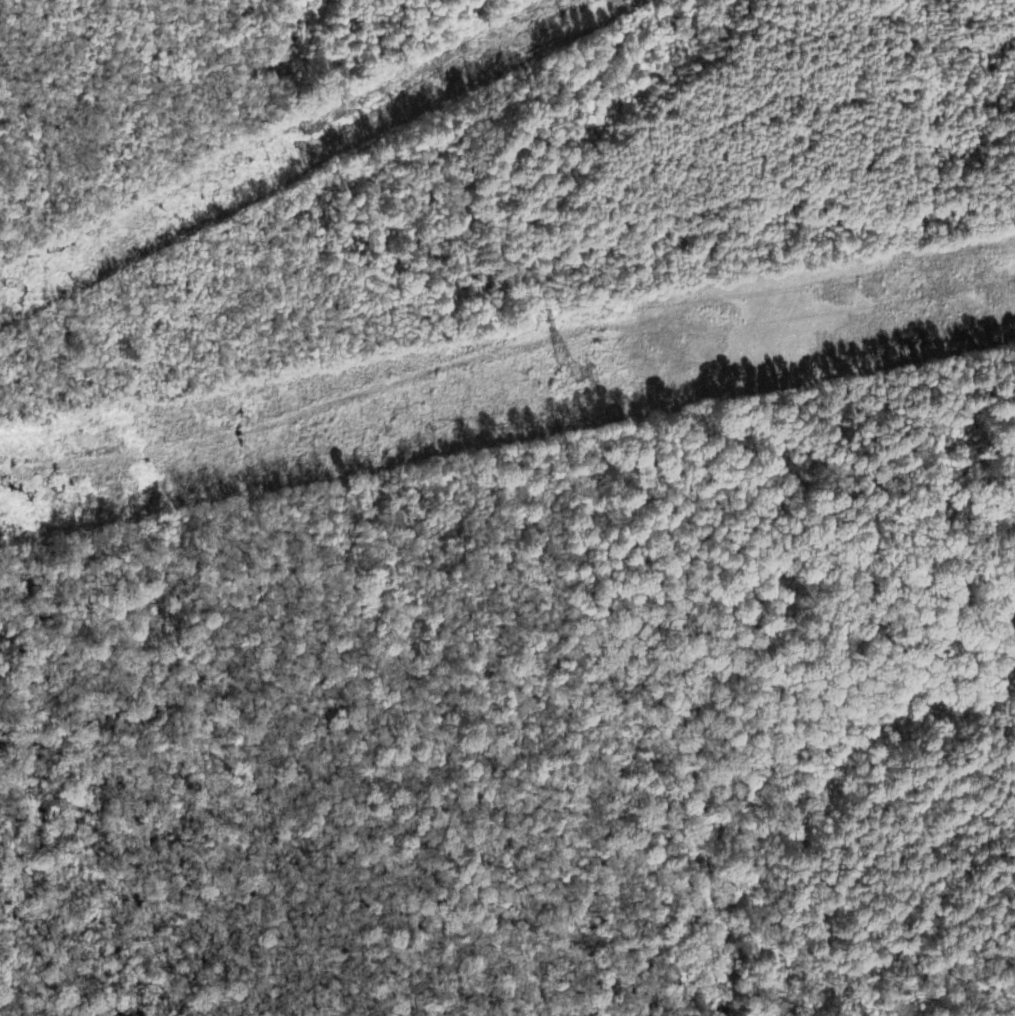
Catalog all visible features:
power tower: (567, 370)

